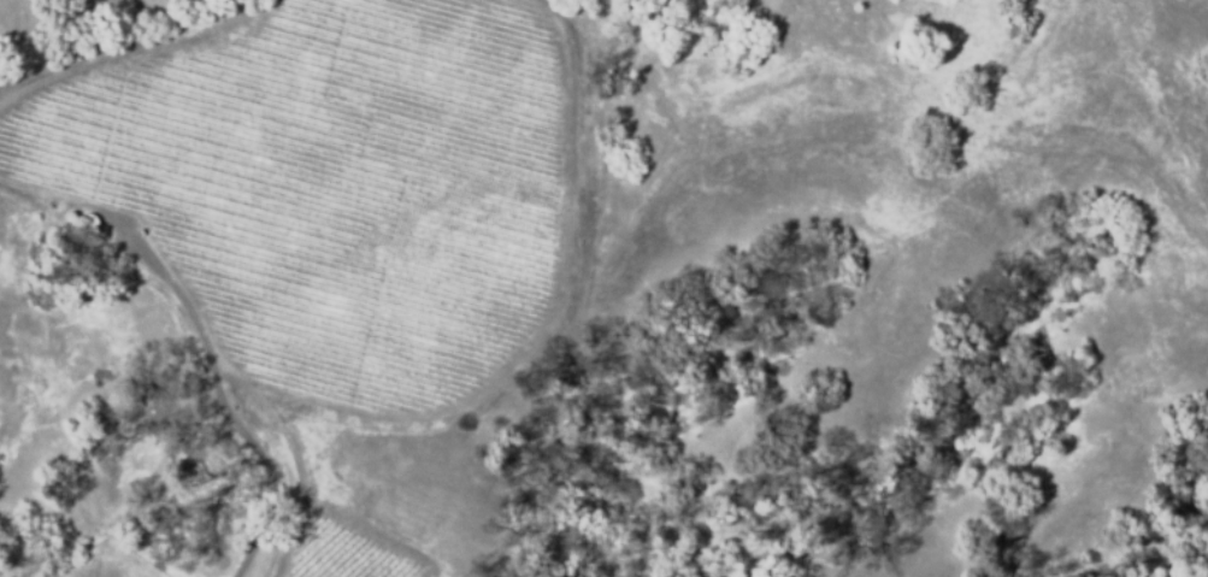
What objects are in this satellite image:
road: (182, 19)
building: (84, 225)

